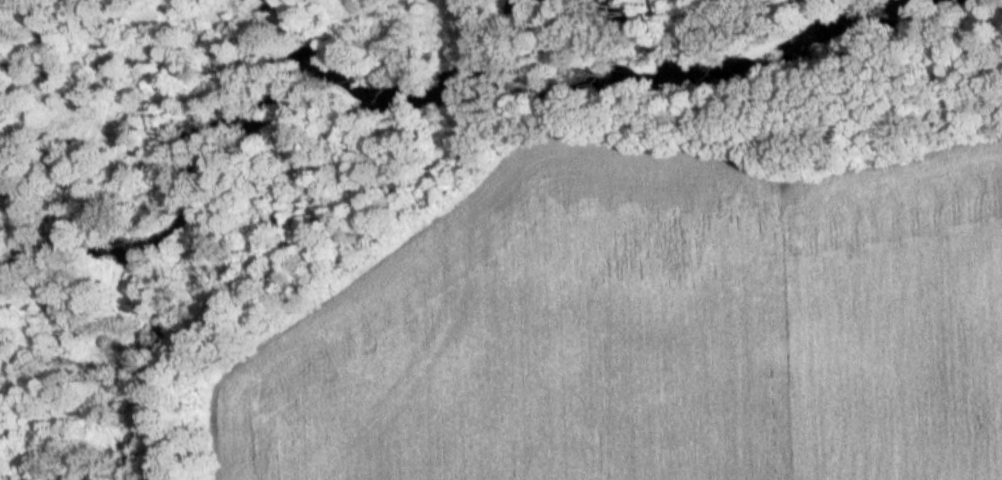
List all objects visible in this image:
crop: (636, 329)

